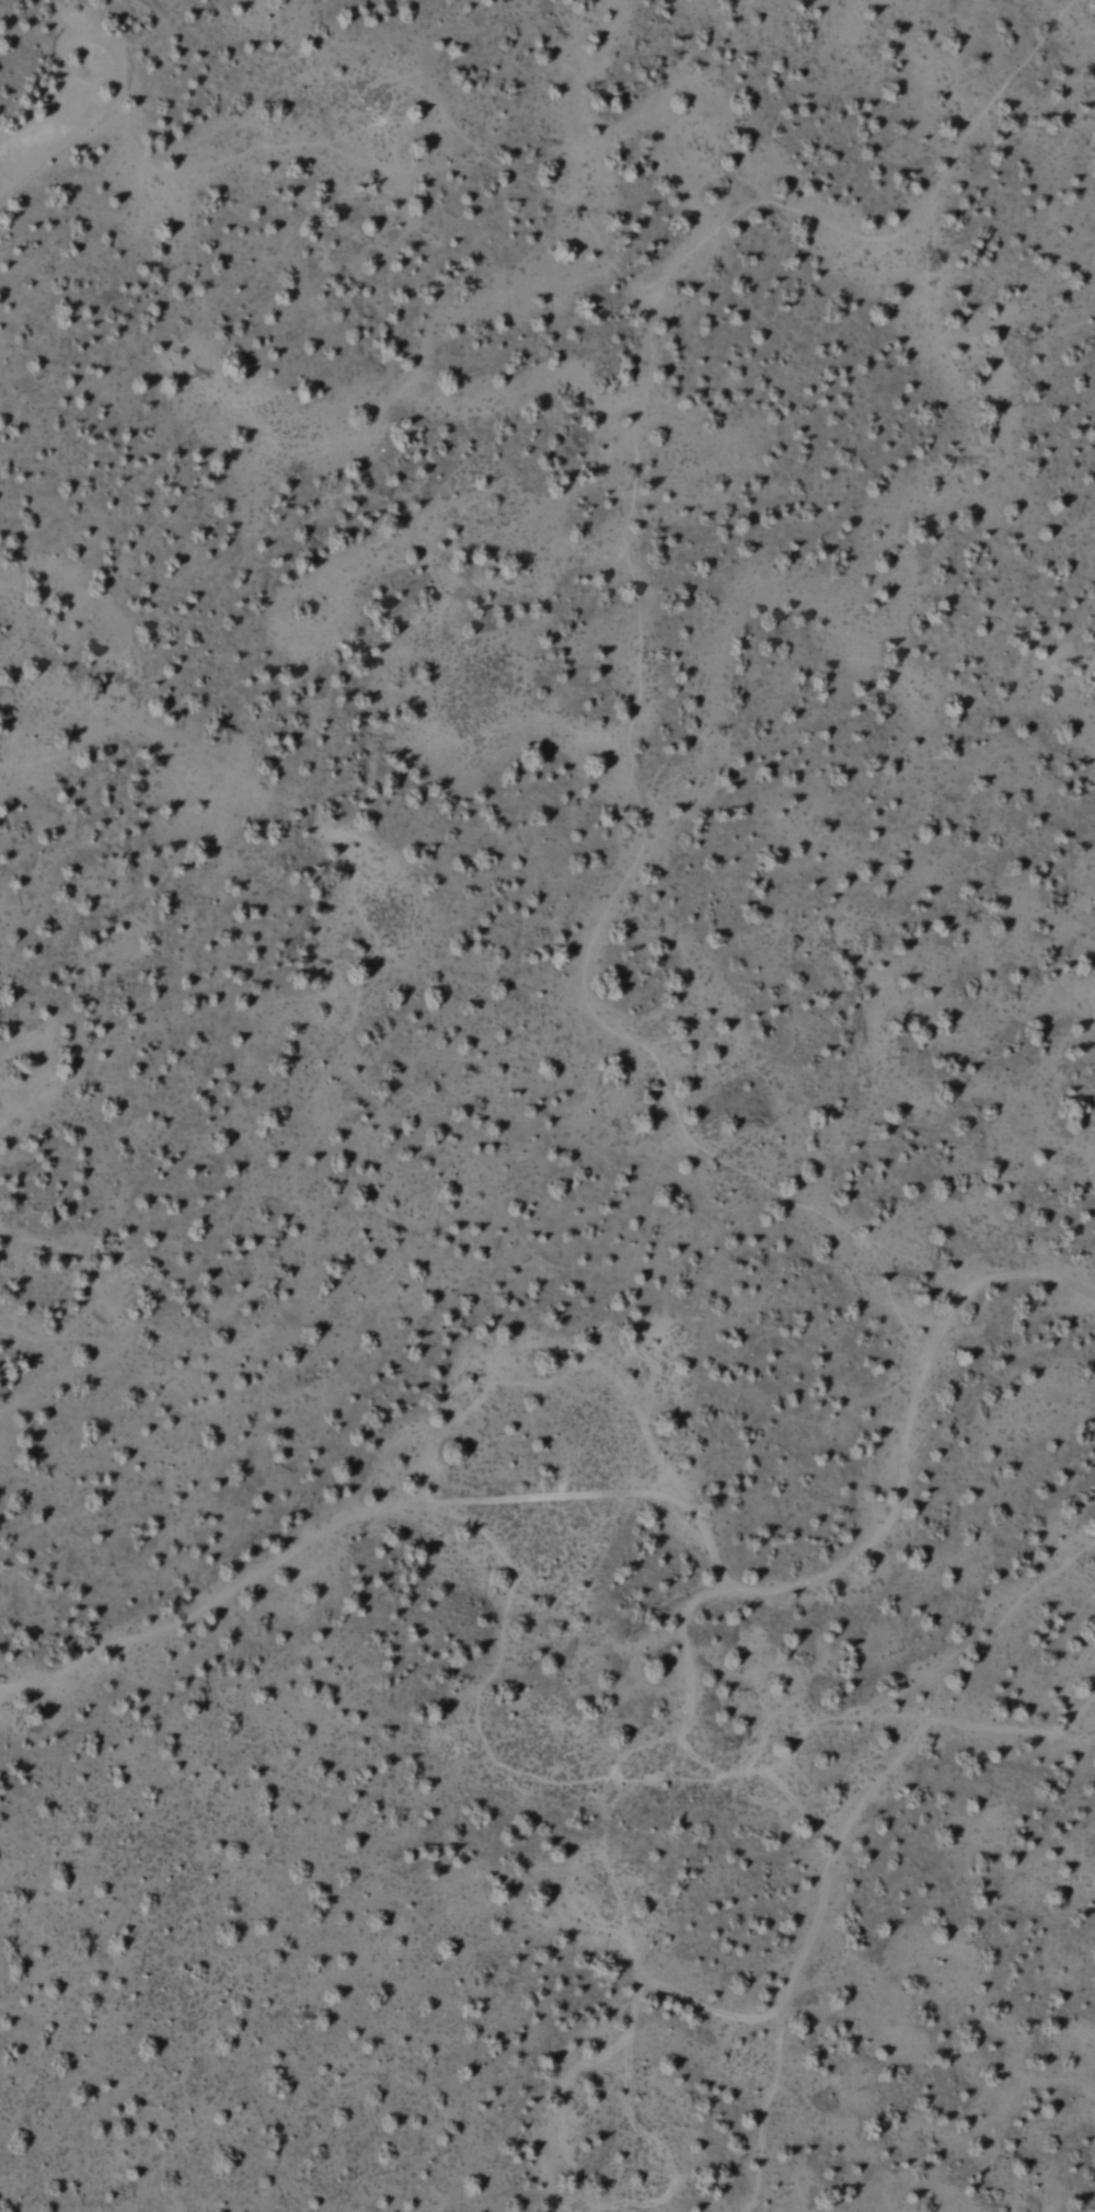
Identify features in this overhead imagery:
road: (649, 1492)

